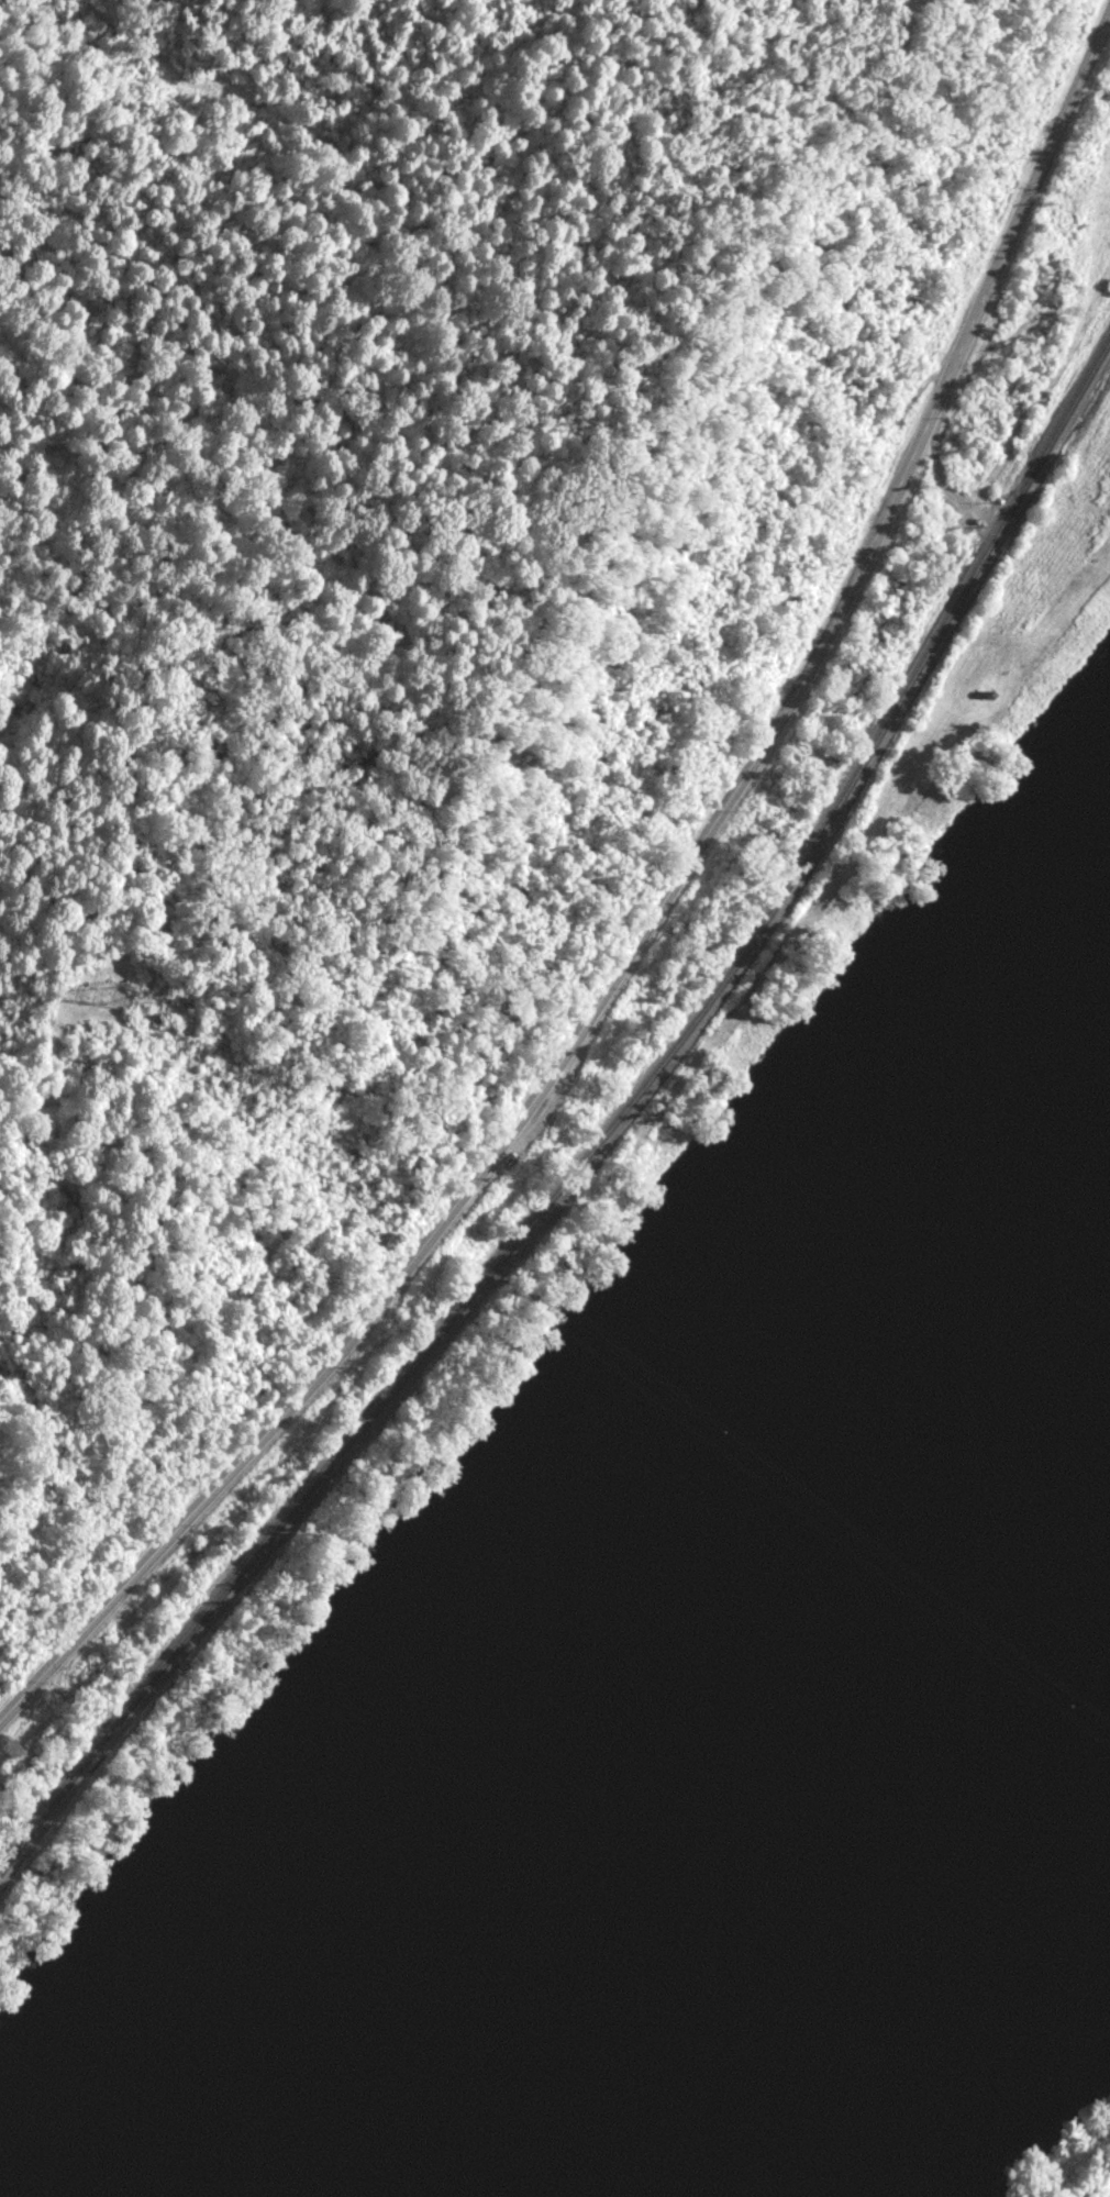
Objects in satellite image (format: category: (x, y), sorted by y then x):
road: (647, 920)
power tower: (118, 999)
railway: (600, 1141)
river: (1054, 1331)
river: (1054, 1464)
river: (667, 1855)
crop: (1075, 2162)

